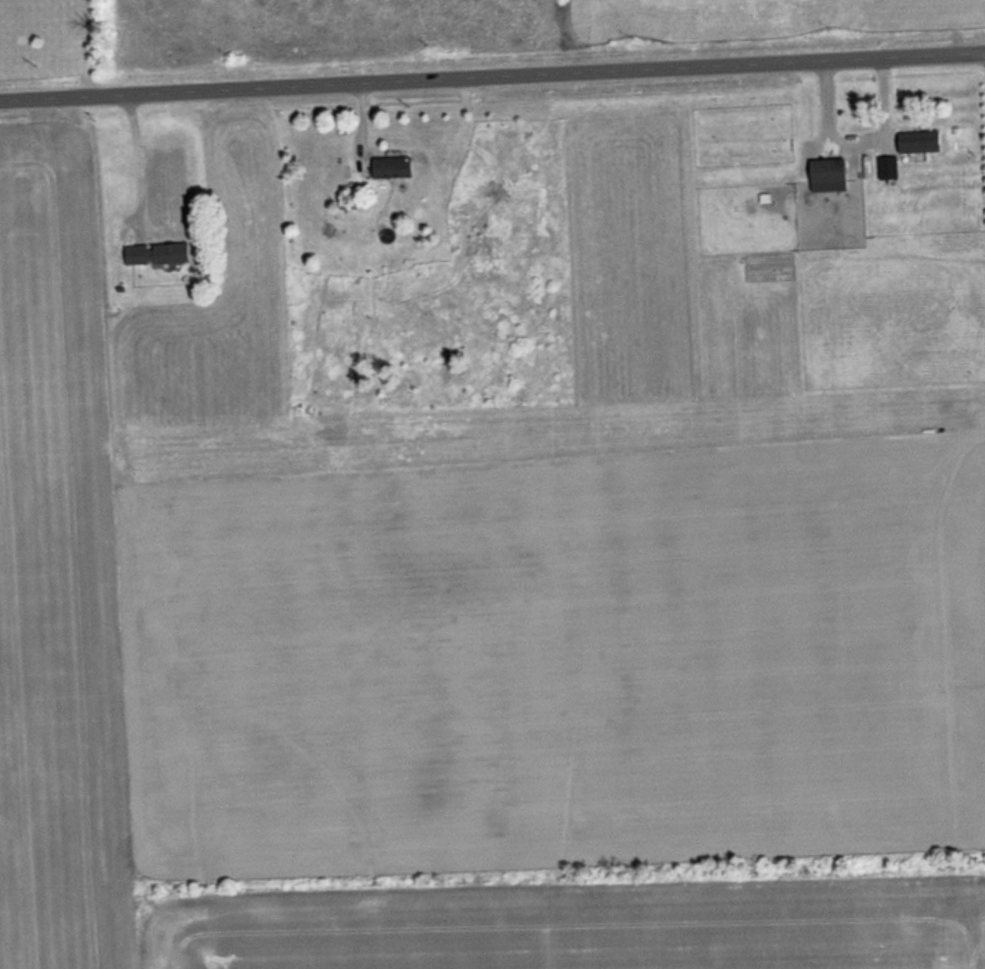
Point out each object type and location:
road: (492, 81)
building: (917, 141)
building: (388, 166)
building: (886, 167)
building: (825, 175)
building: (161, 254)

